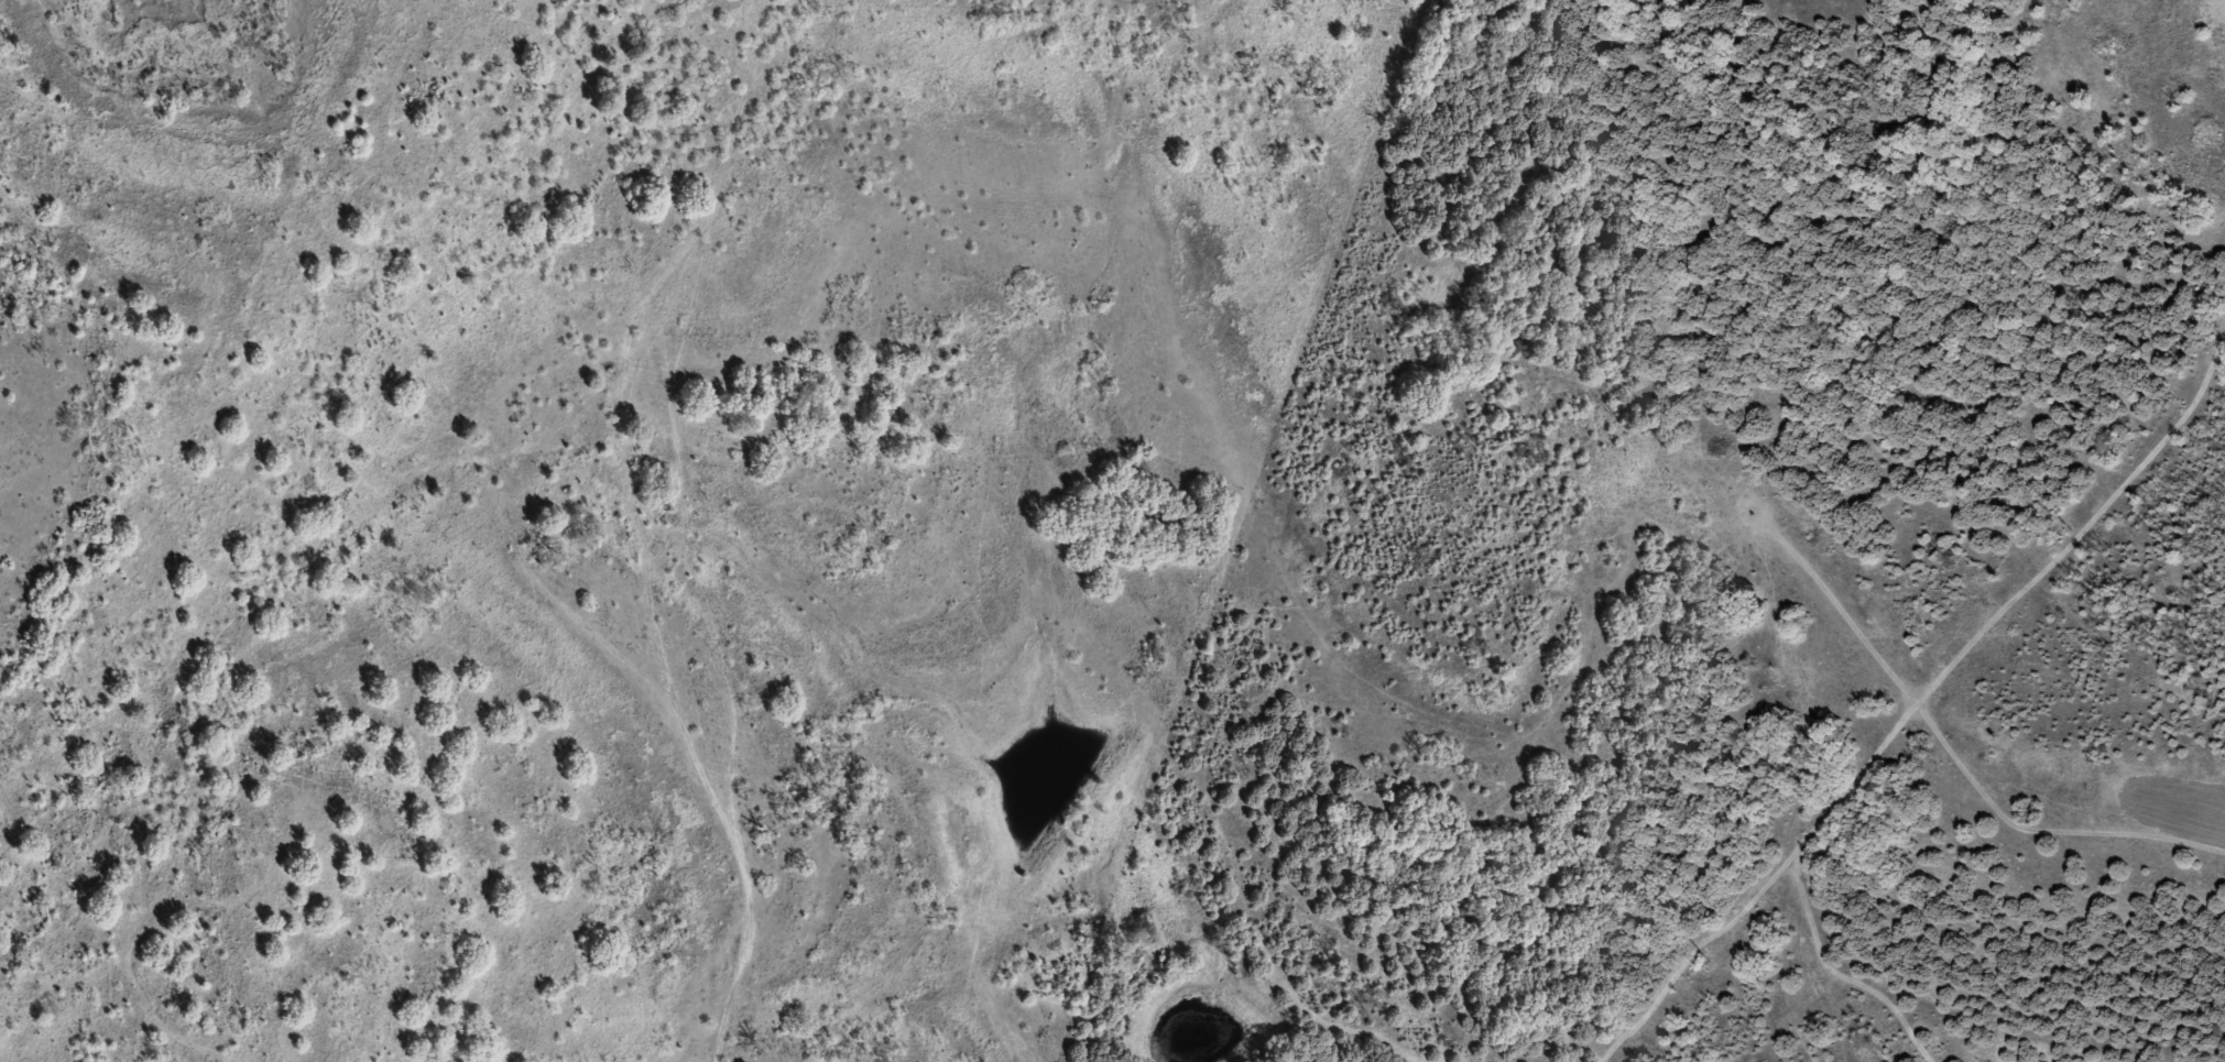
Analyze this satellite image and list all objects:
power tower: (2068, 526)
power tower: (1705, 957)
road: (685, 961)

